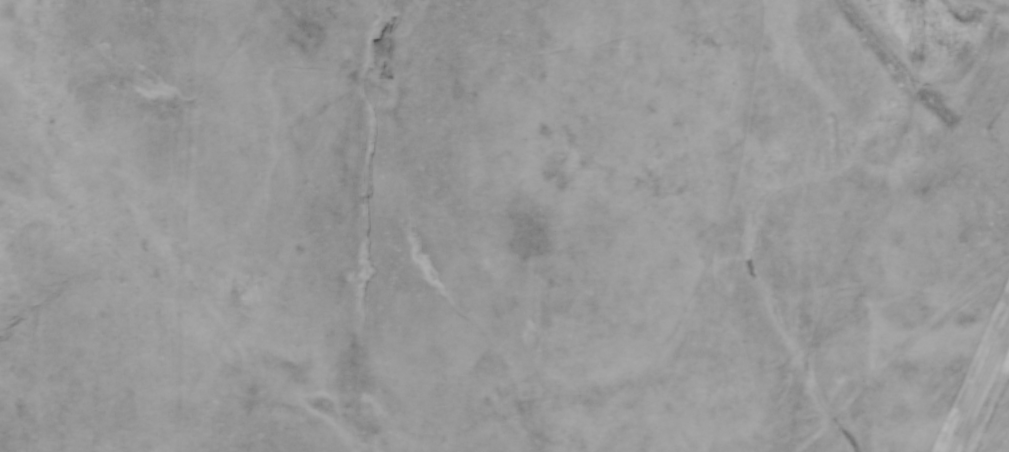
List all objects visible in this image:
road: (978, 386)

